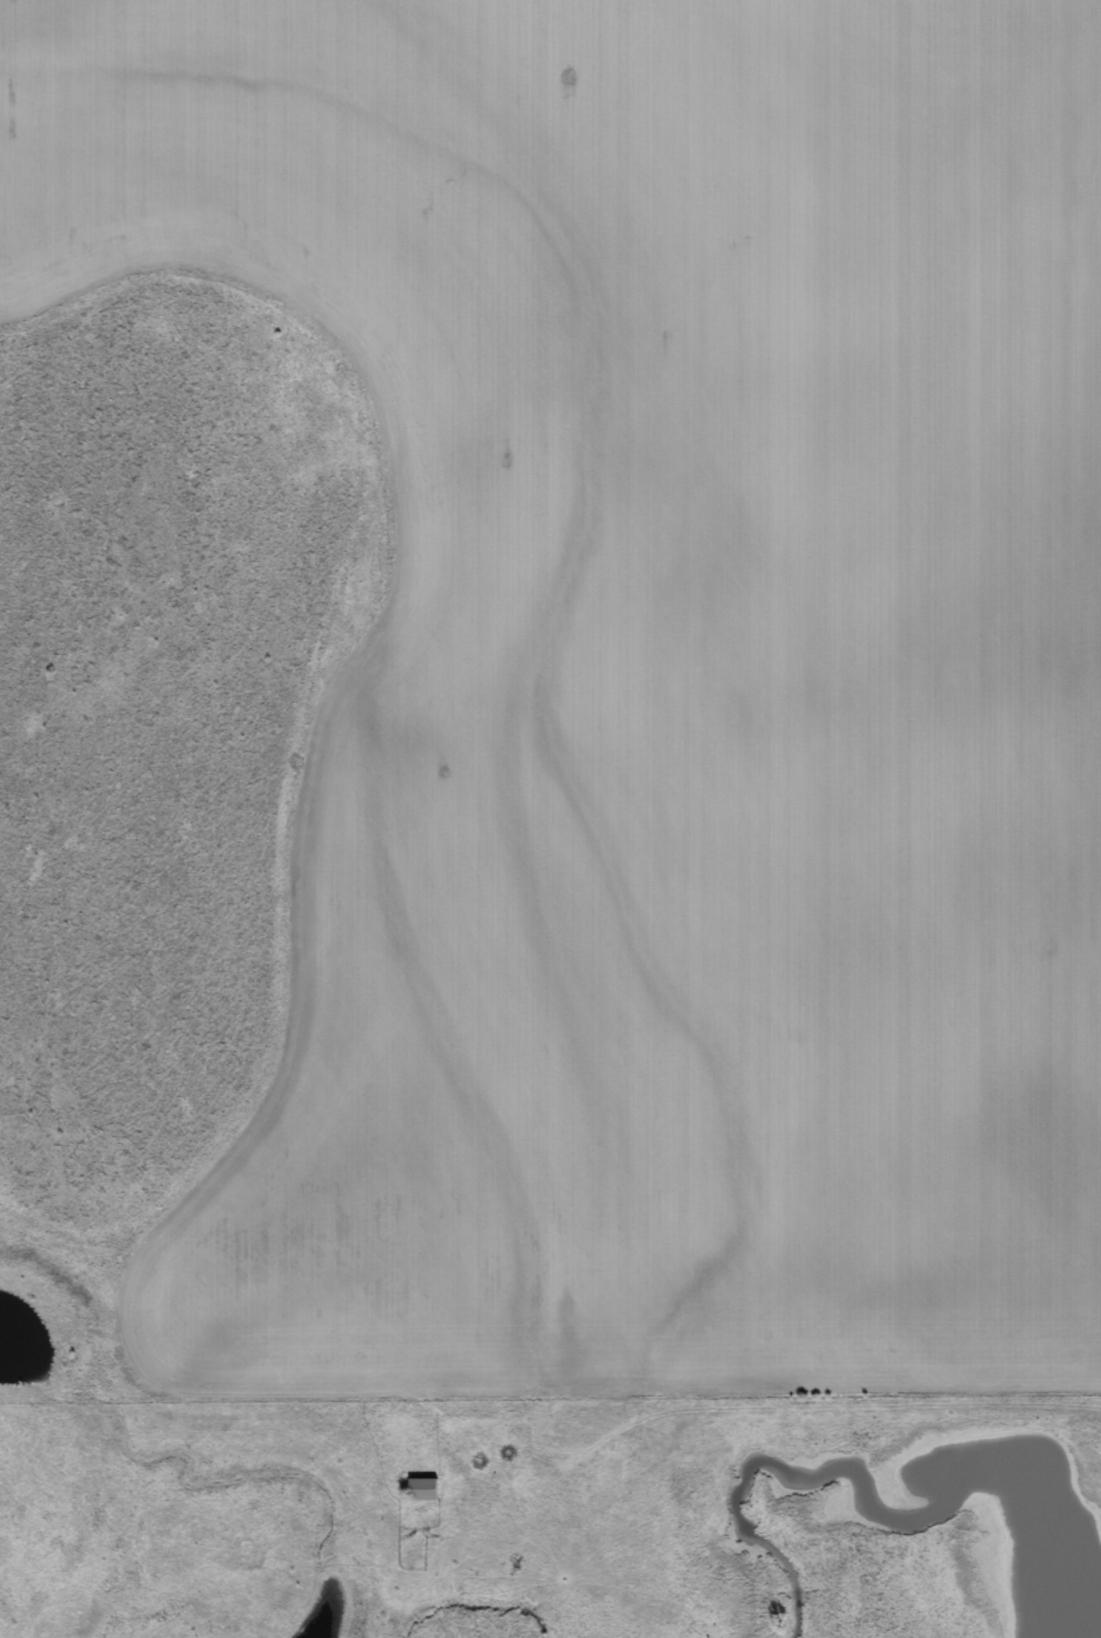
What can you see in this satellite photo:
building: (420, 1489)

